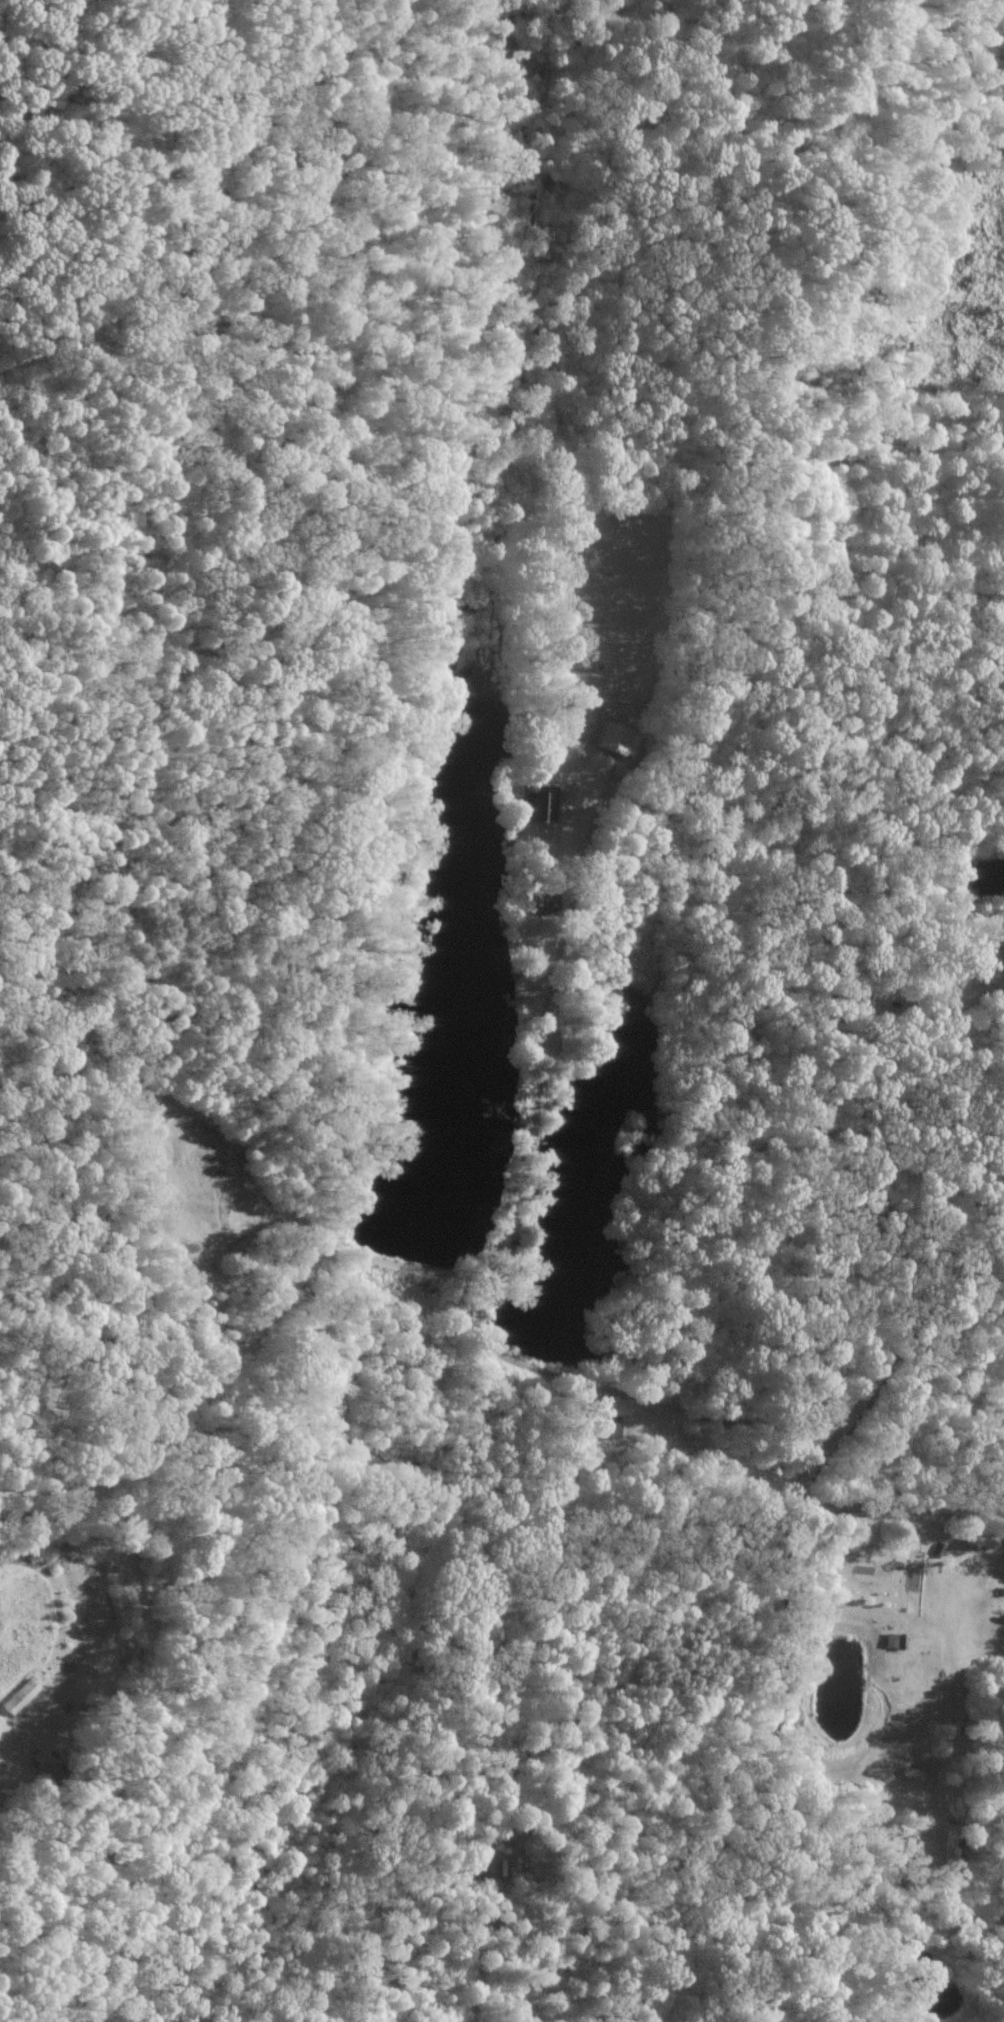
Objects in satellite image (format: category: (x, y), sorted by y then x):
building: (612, 737)
building: (536, 802)
road: (502, 1227)
building: (603, 1425)
road: (899, 1502)
road: (1, 1527)
road: (786, 1598)
building: (893, 1639)
building: (18, 1695)

